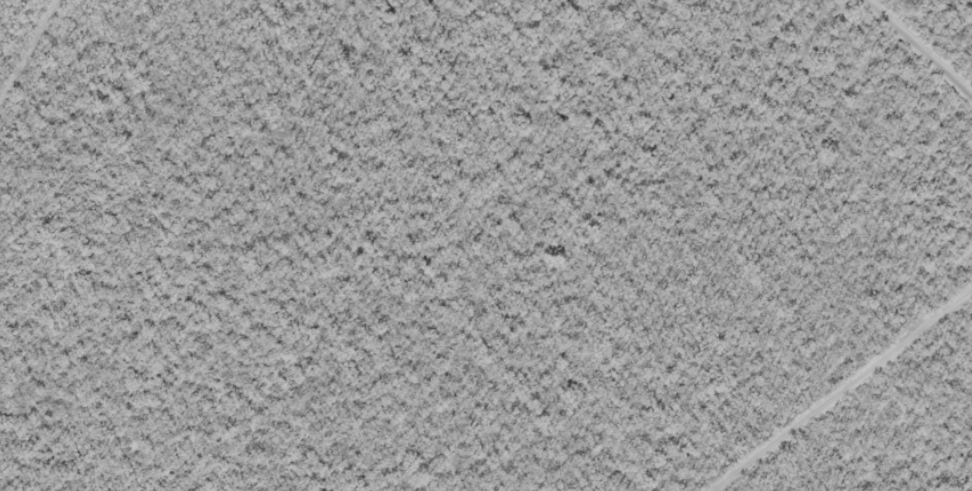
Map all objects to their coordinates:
road: (921, 46)

